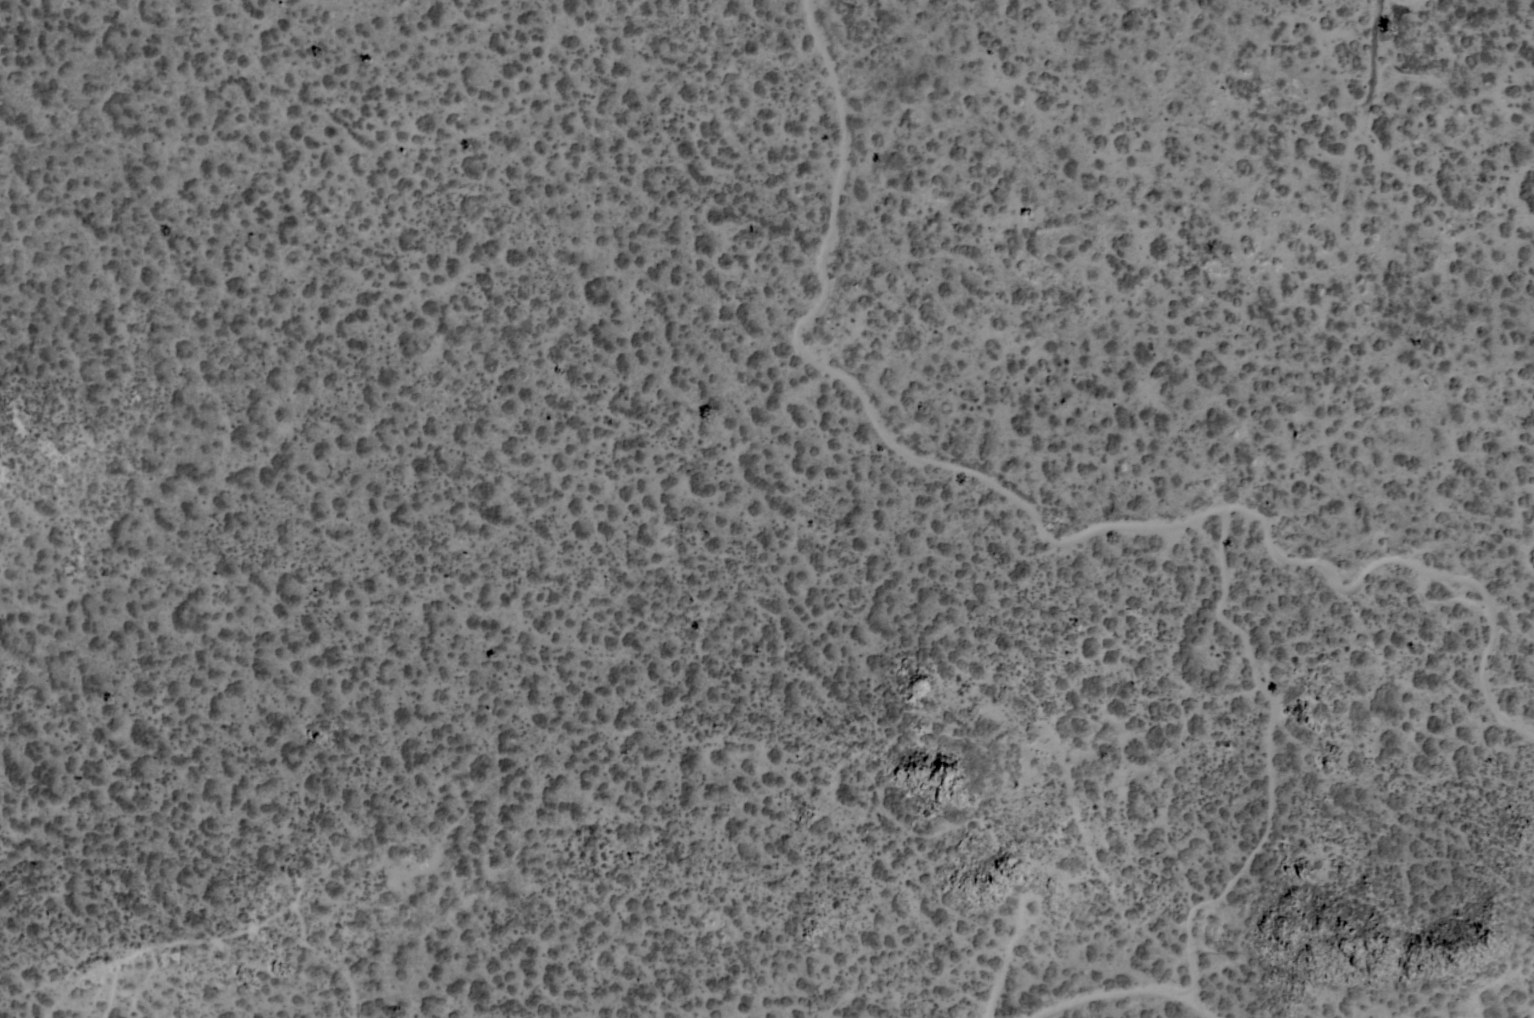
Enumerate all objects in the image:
road: (1048, 529)
road: (1136, 990)

